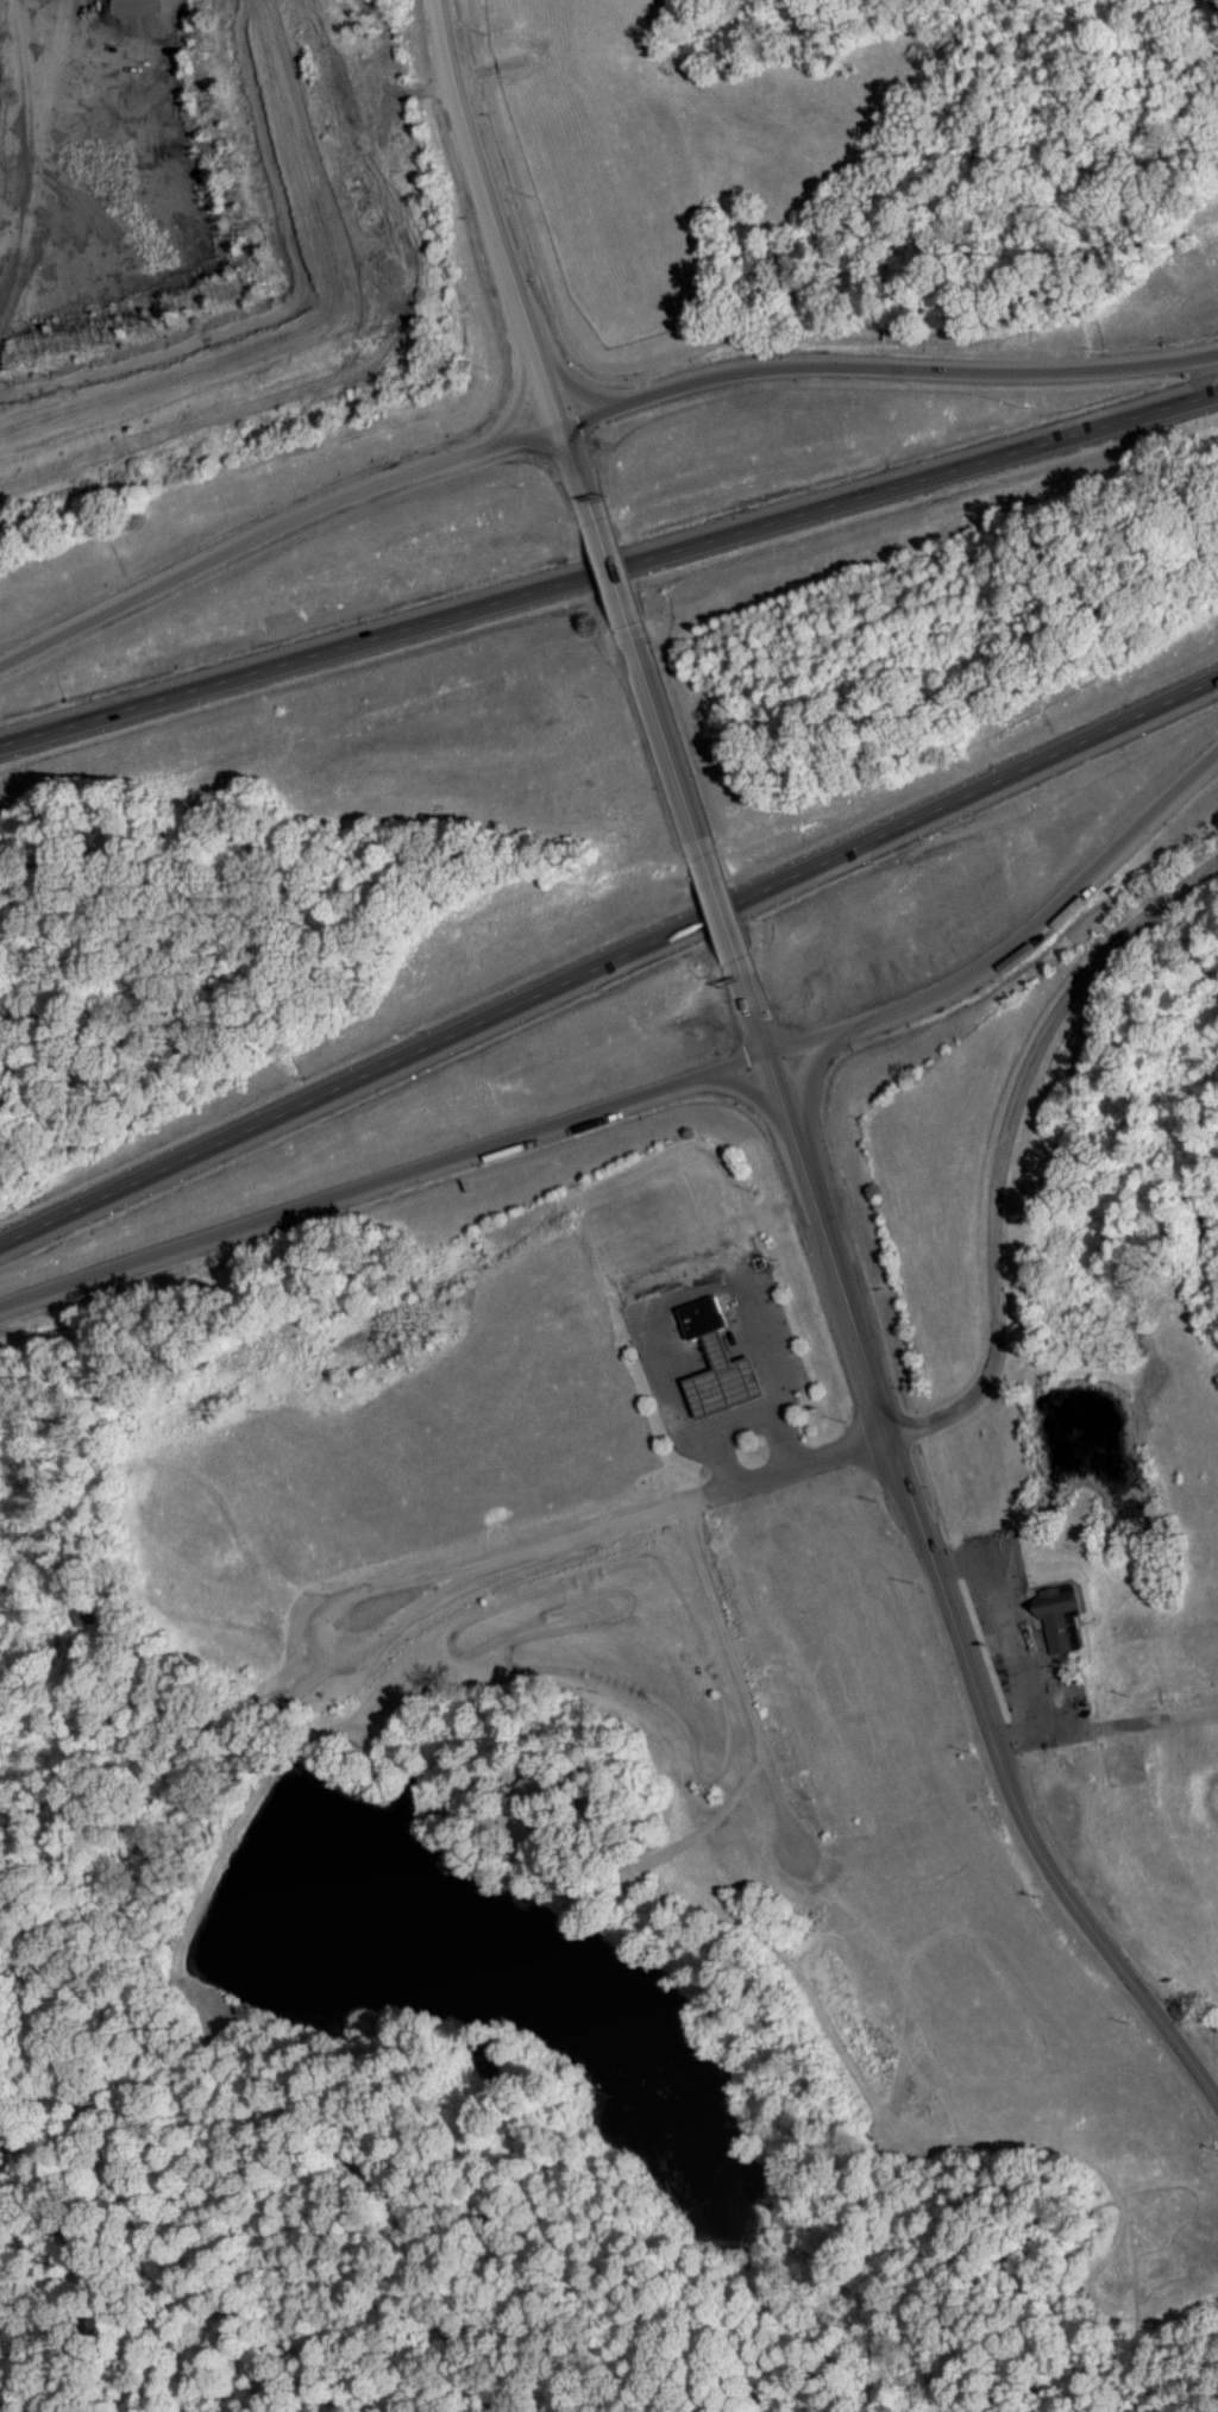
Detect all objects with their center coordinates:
road: (504, 241)
road: (885, 358)
road: (271, 521)
road: (608, 551)
road: (608, 567)
road: (668, 737)
road: (730, 928)
road: (611, 967)
road: (890, 1017)
road: (1009, 1139)
road: (243, 1231)
building: (707, 1317)
road: (756, 1407)
road: (580, 1535)
road: (933, 1577)
building: (1063, 1615)

